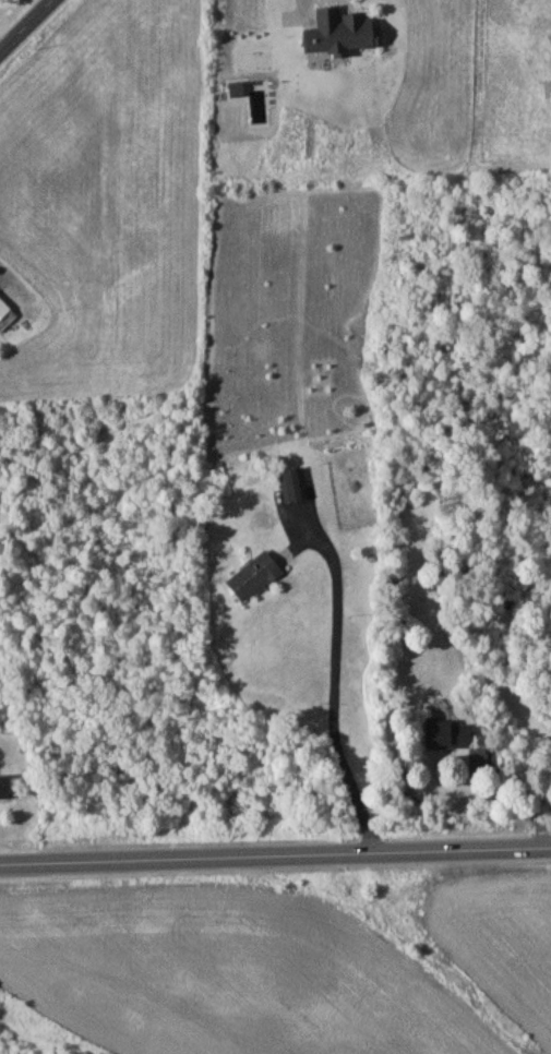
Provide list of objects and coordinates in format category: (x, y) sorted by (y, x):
road: (25, 25)
building: (7, 313)
building: (295, 484)
building: (256, 575)
road: (336, 682)
building: (443, 734)
building: (5, 789)
road: (527, 793)
road: (275, 855)

